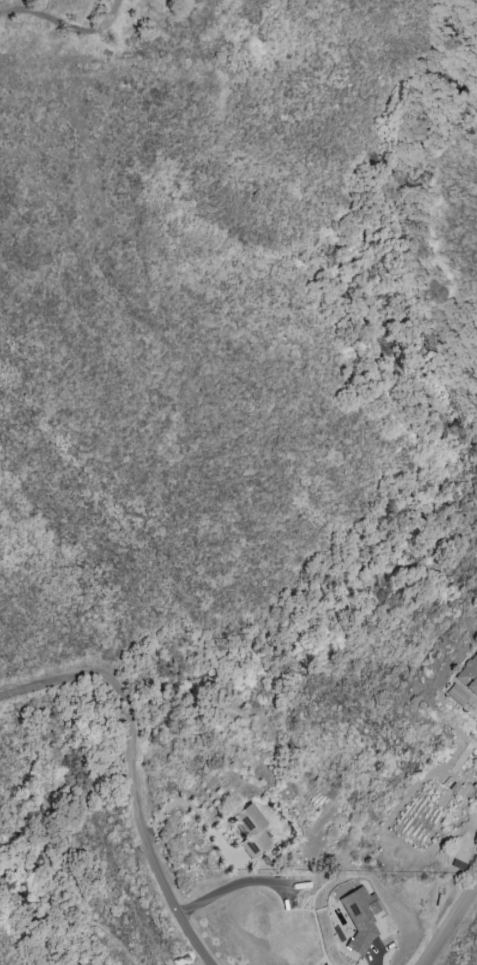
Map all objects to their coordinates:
road: (65, 24)
building: (468, 675)
road: (127, 692)
building: (455, 694)
road: (198, 817)
building: (250, 831)
road: (232, 888)
road: (176, 898)
building: (360, 918)
road: (455, 926)
building: (324, 964)

